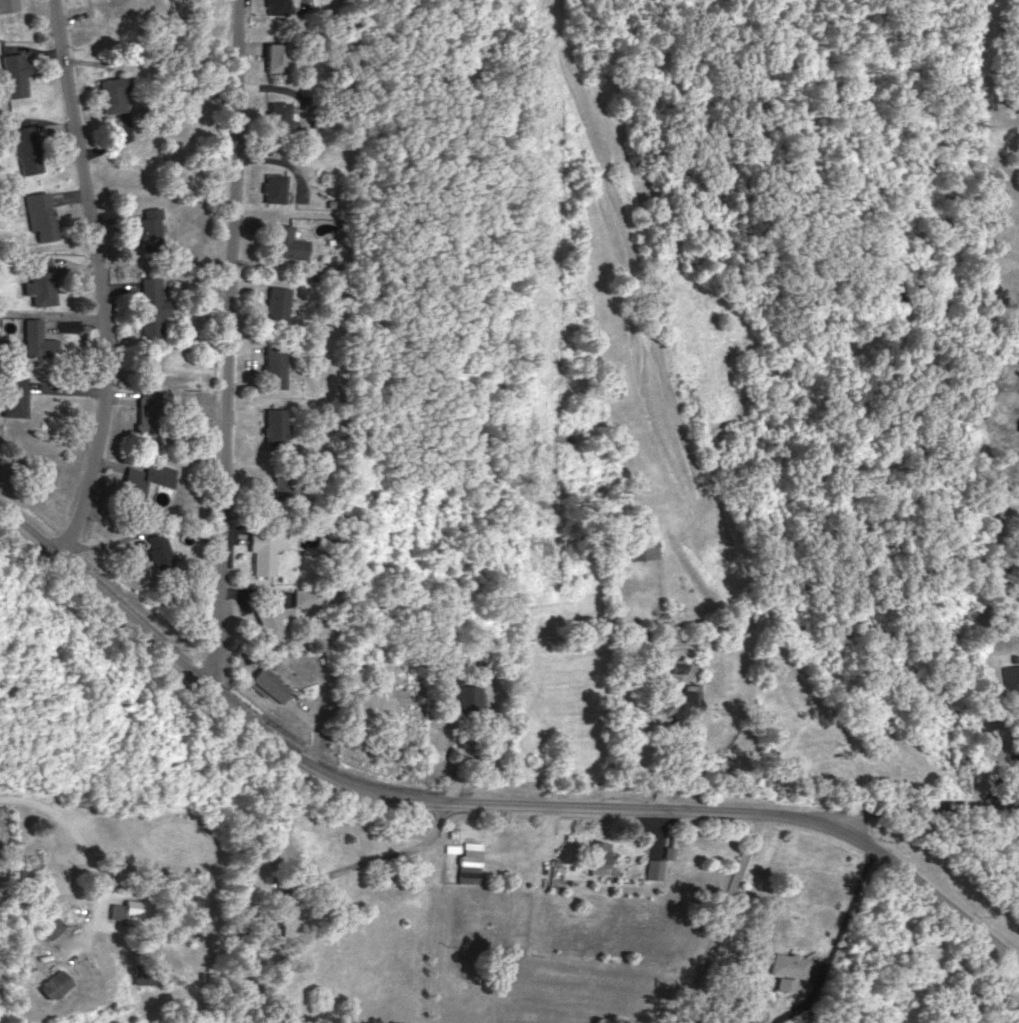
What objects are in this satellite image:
building: (6, 5)
building: (275, 6)
building: (275, 56)
building: (13, 73)
building: (110, 93)
building: (277, 115)
building: (23, 146)
building: (272, 186)
building: (39, 215)
building: (150, 228)
building: (286, 242)
building: (40, 279)
road: (98, 283)
building: (277, 301)
building: (151, 304)
building: (36, 338)
road: (227, 345)
building: (273, 365)
building: (12, 395)
building: (145, 411)
building: (272, 427)
building: (1018, 429)
building: (142, 479)
building: (280, 484)
building: (263, 527)
building: (640, 547)
building: (158, 549)
building: (264, 549)
building: (1017, 571)
building: (305, 597)
building: (269, 617)
building: (676, 665)
building: (1008, 675)
building: (267, 683)
building: (464, 698)
building: (687, 698)
road: (485, 802)
road: (925, 808)
building: (451, 847)
building: (669, 851)
building: (601, 858)
building: (469, 862)
road: (357, 865)
building: (655, 868)
road: (847, 909)
building: (126, 910)
road: (720, 919)
building: (49, 925)
building: (258, 929)
building: (791, 965)
building: (142, 973)
building: (784, 983)
building: (50, 984)

